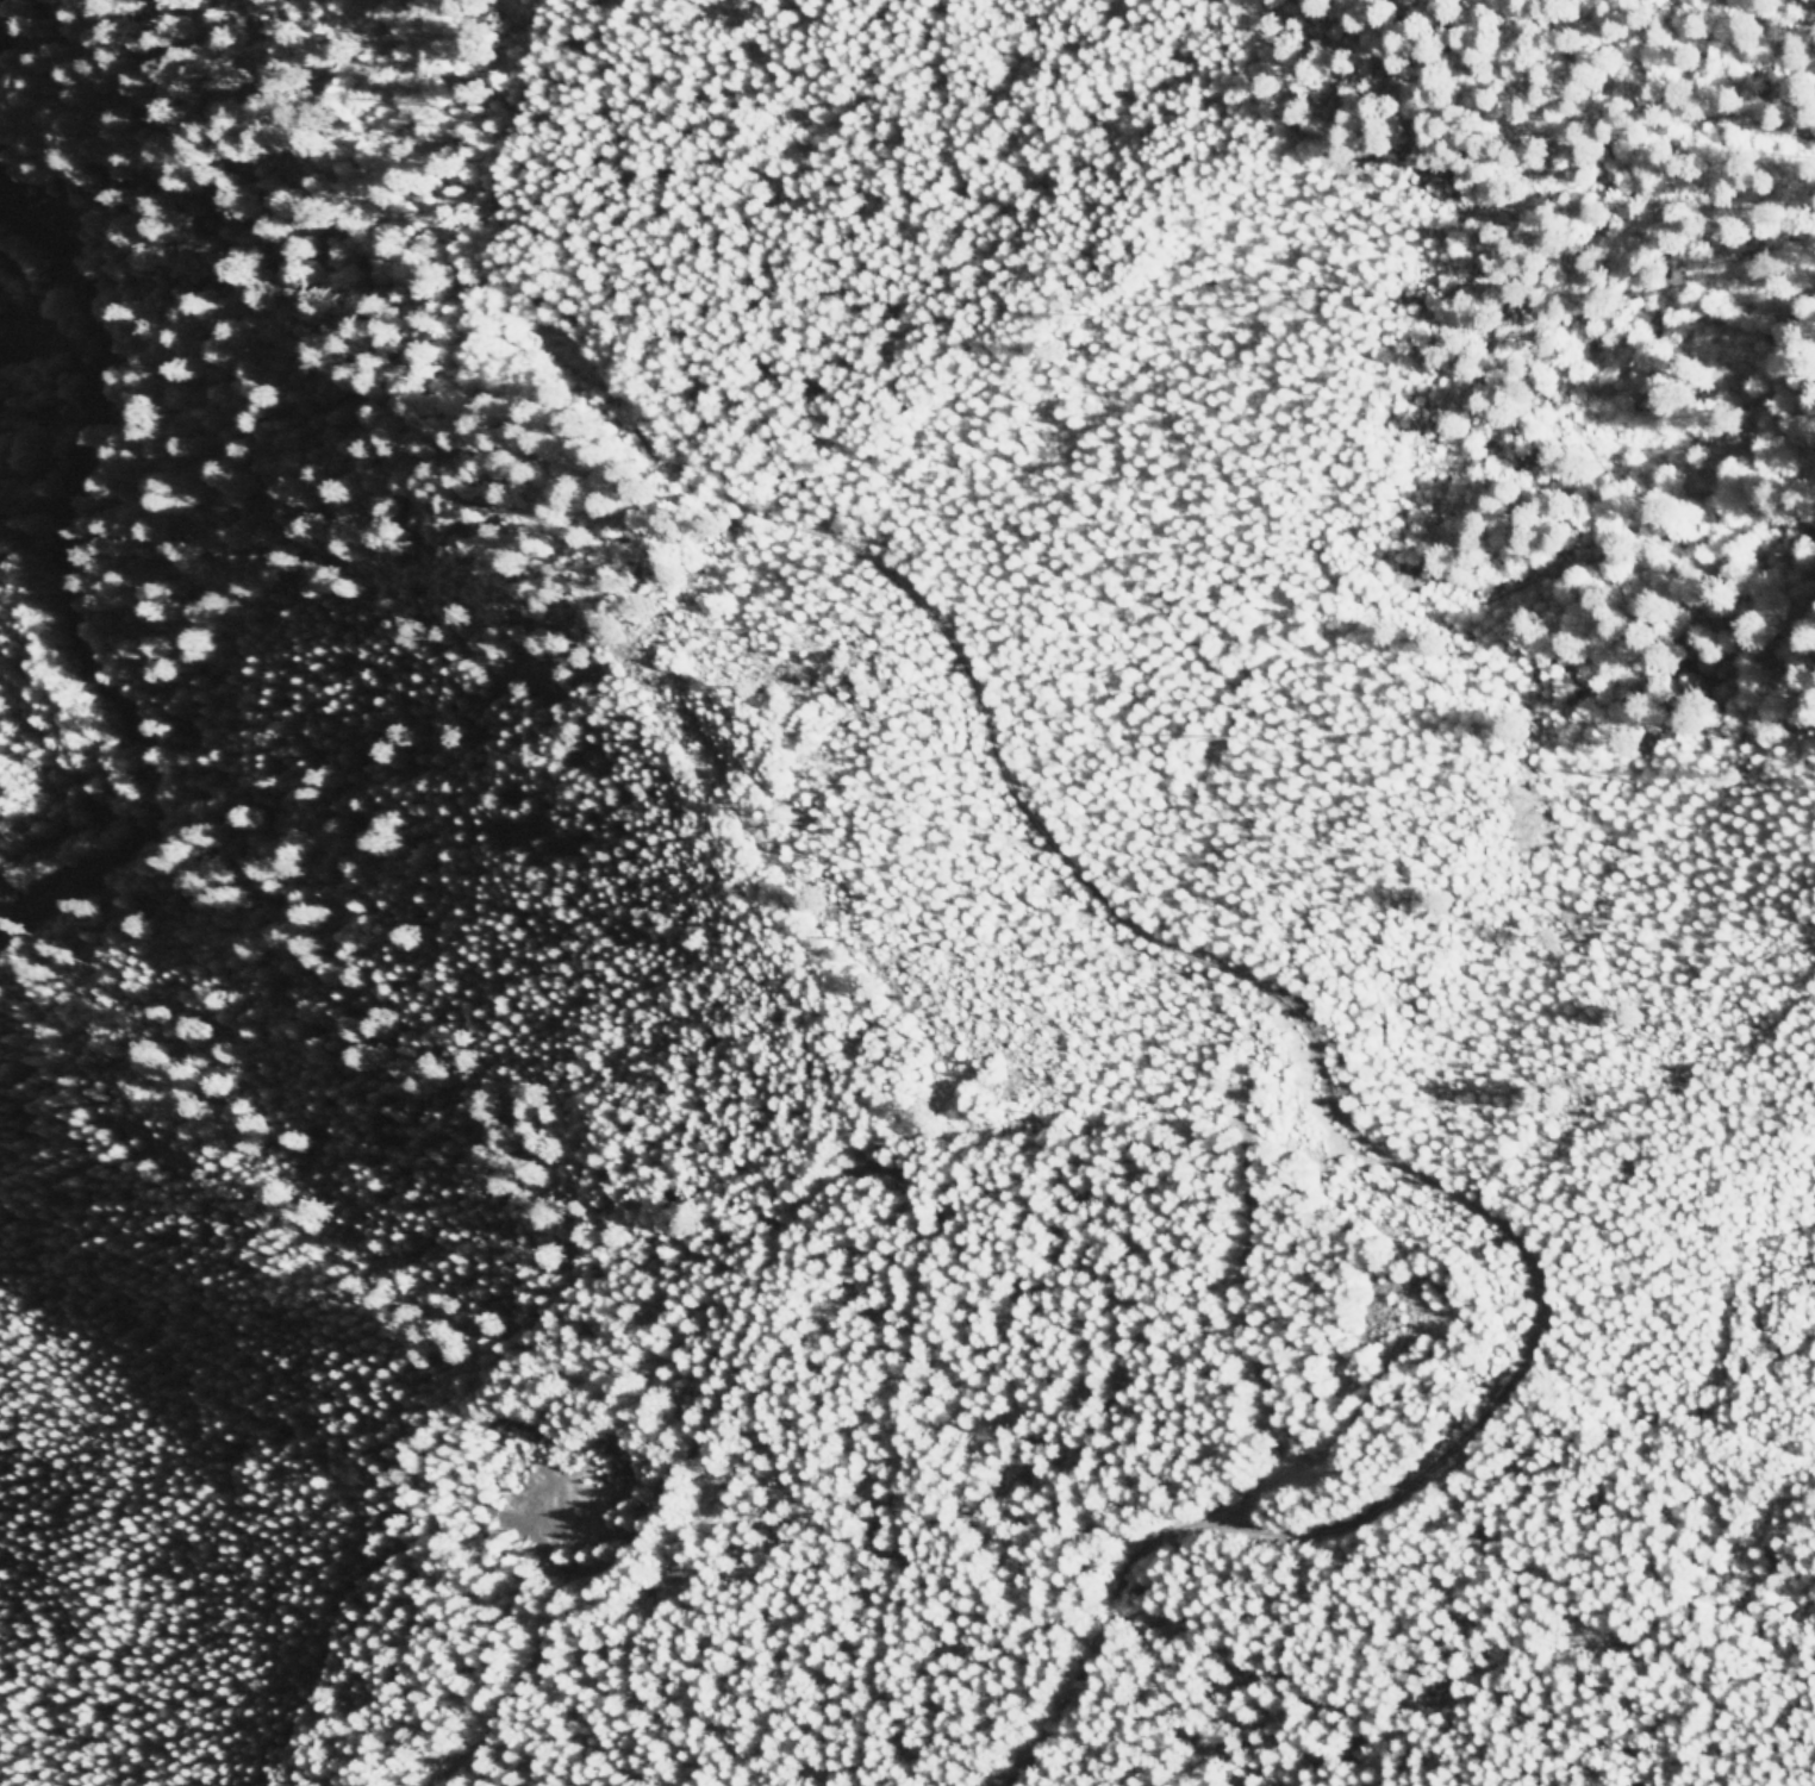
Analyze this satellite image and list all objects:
road: (71, 567)
road: (1340, 1078)
road: (908, 1209)

